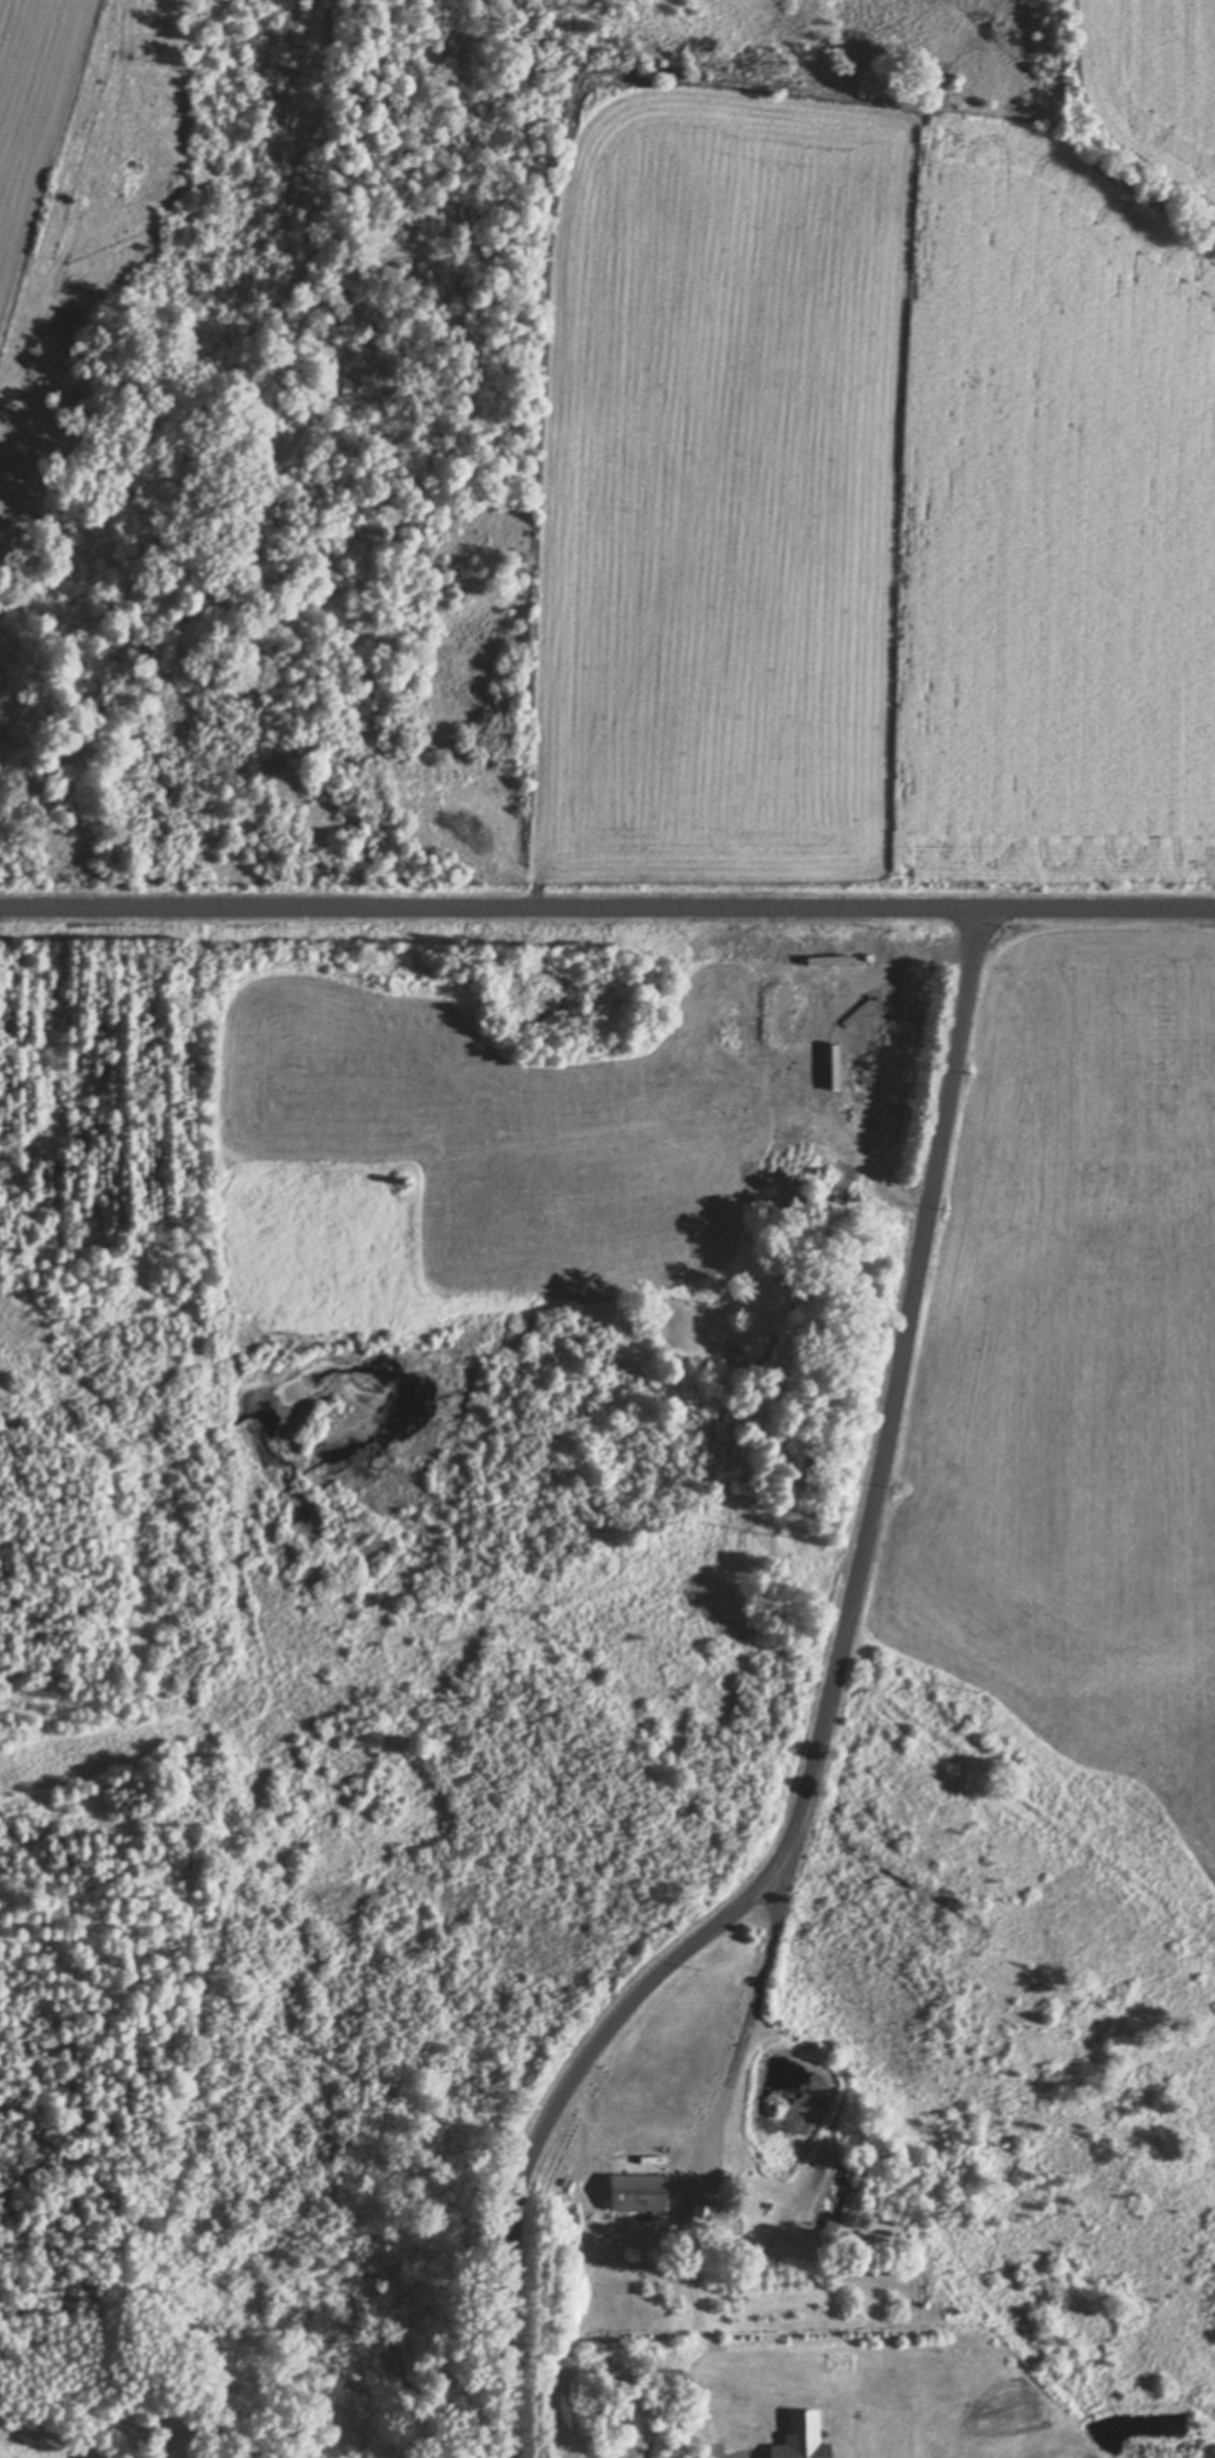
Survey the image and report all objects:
building: (131, 164)
road: (606, 905)
road: (819, 1726)
road: (747, 2022)
building: (635, 2192)
building: (705, 2220)

